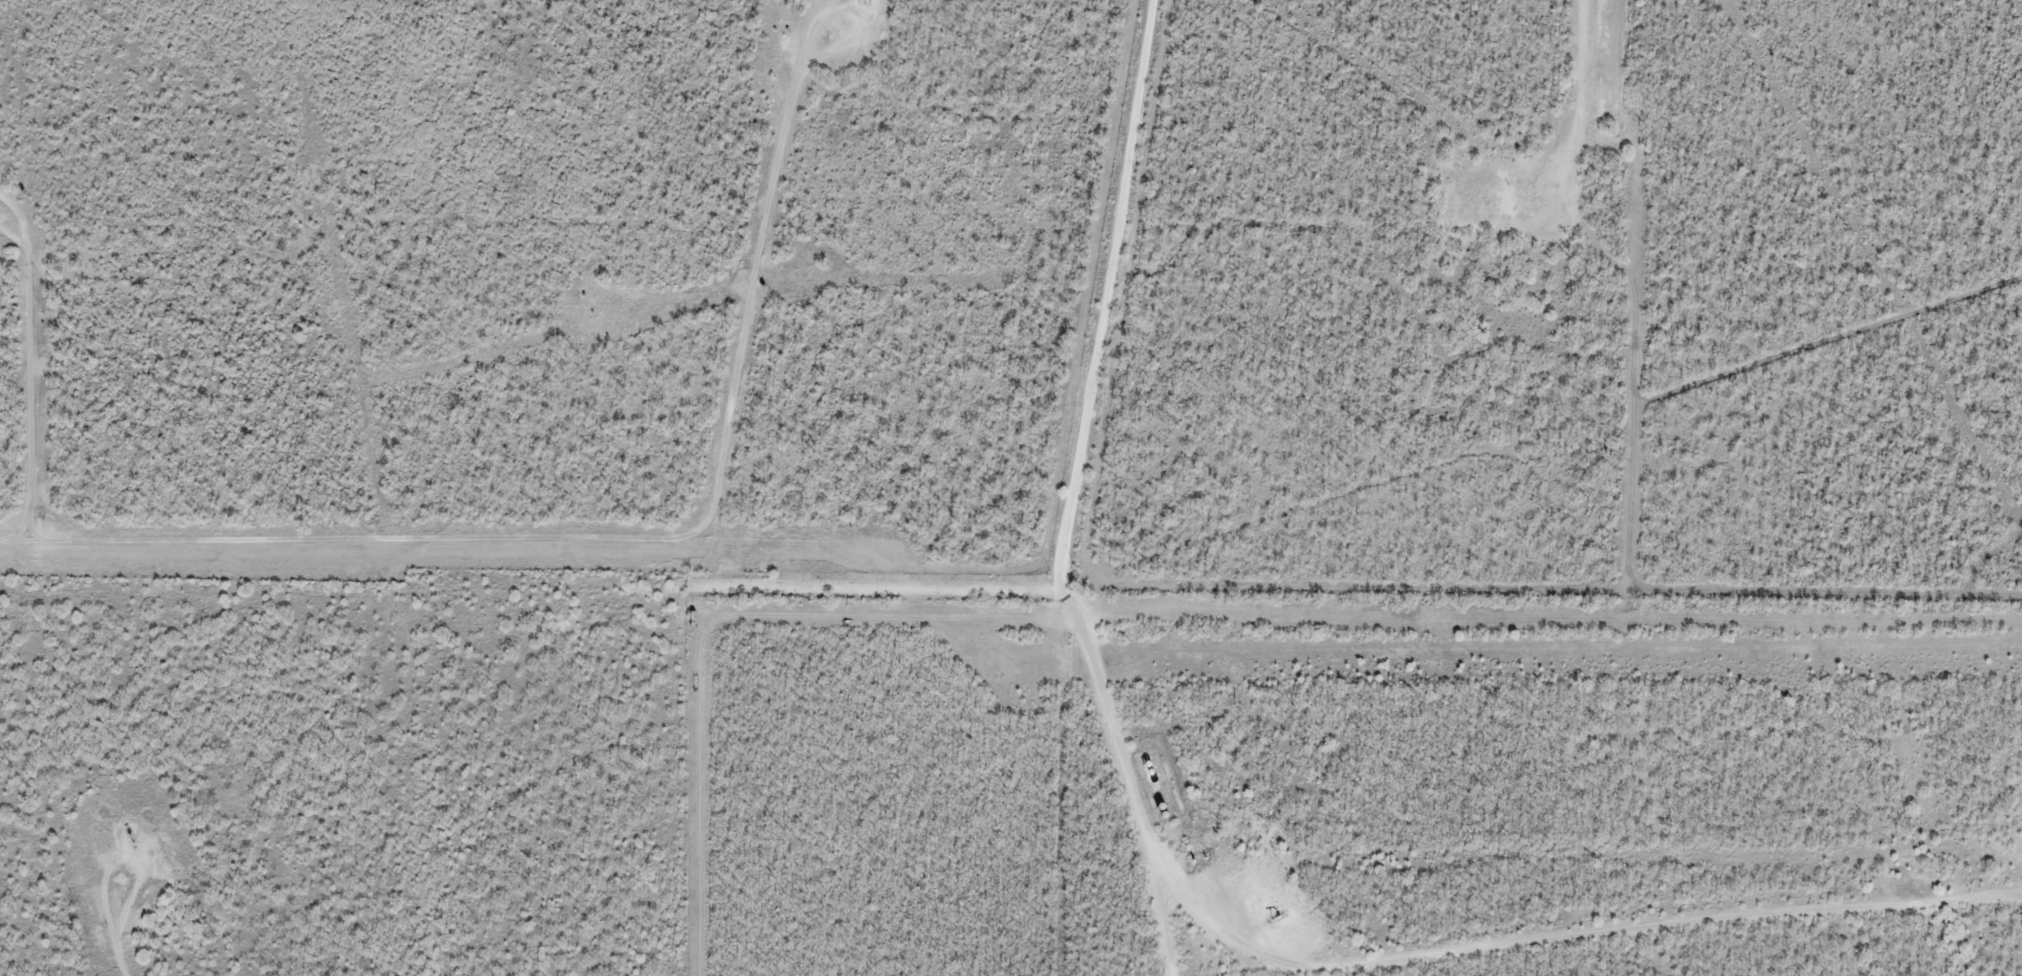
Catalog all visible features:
road: (1099, 292)
road: (1123, 777)
road: (116, 918)

